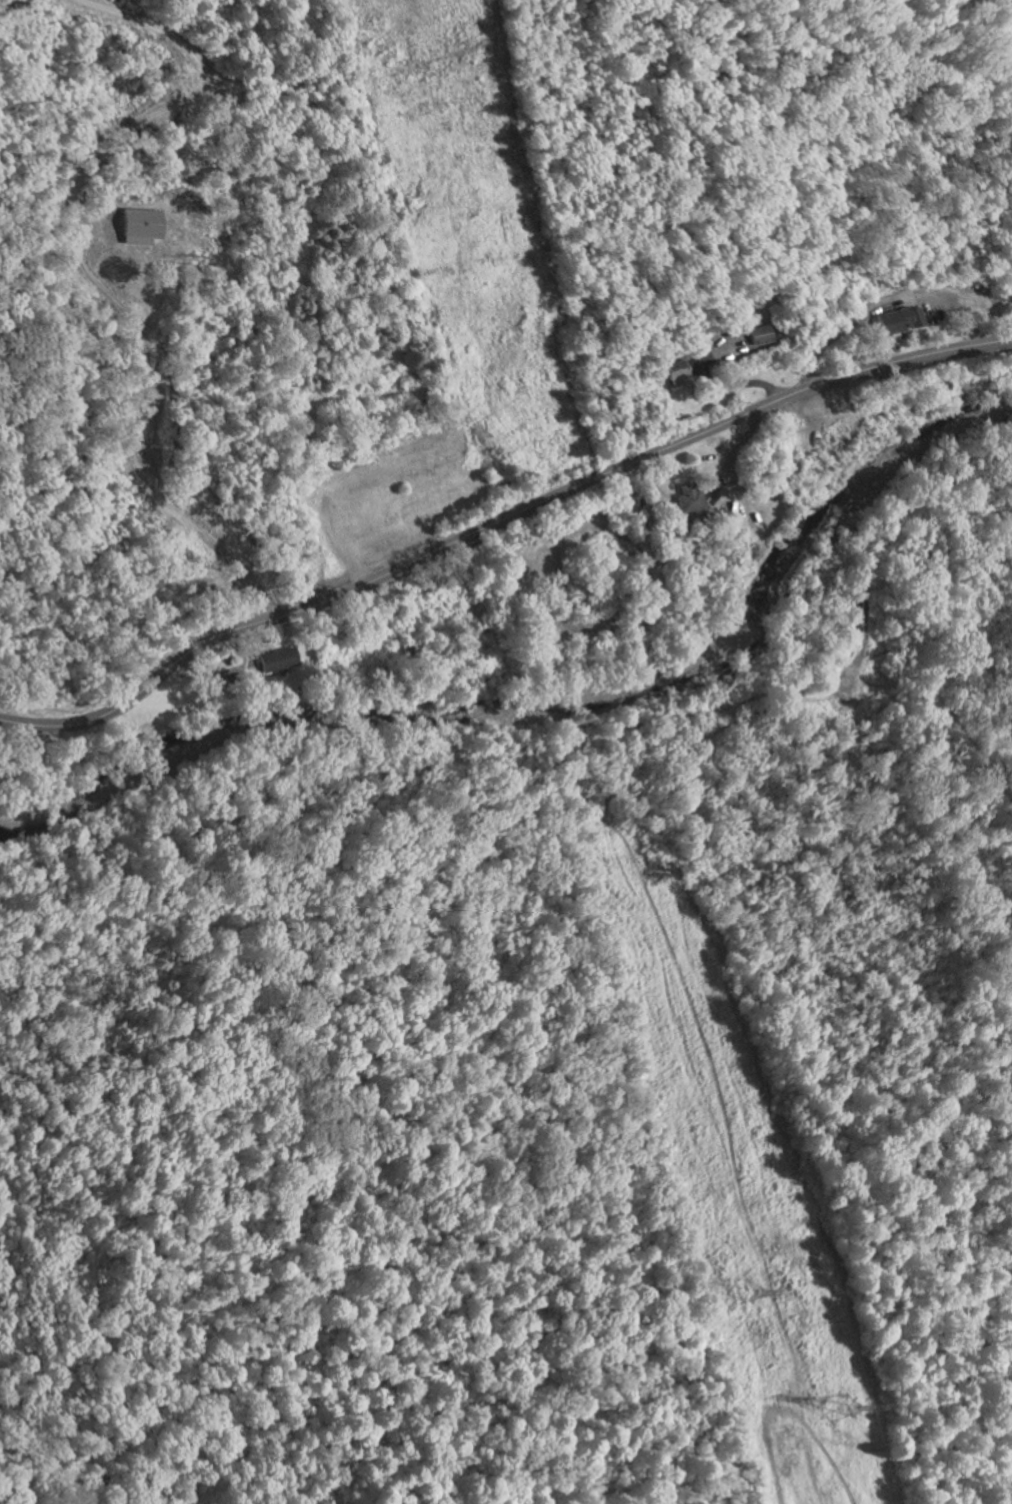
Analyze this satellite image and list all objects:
building: (142, 224)
road: (91, 280)
building: (900, 319)
building: (760, 333)
building: (730, 338)
road: (823, 346)
building: (675, 371)
road: (738, 382)
building: (691, 499)
road: (496, 522)
building: (278, 658)
power tower: (739, 1293)
power tower: (841, 1408)

